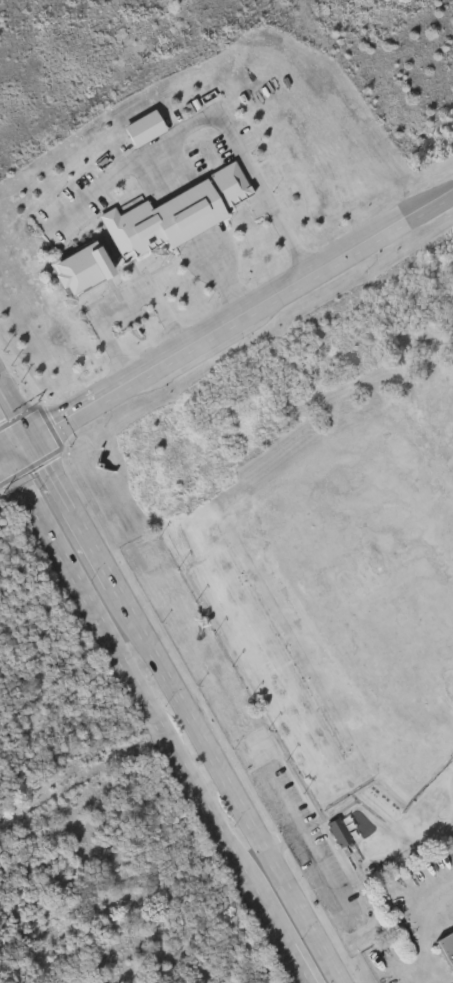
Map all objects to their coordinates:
road: (206, 117)
building: (147, 130)
building: (178, 216)
building: (84, 270)
road: (124, 305)
road: (243, 314)
road: (17, 409)
traffic signals: (34, 439)
road: (4, 442)
road: (21, 445)
building: (48, 445)
traffic signals: (9, 451)
road: (4, 453)
park: (226, 491)
road: (74, 511)
road: (160, 716)
road: (226, 783)
building: (342, 834)
road: (283, 841)
road: (309, 846)
parking lot: (311, 846)
building: (448, 949)

